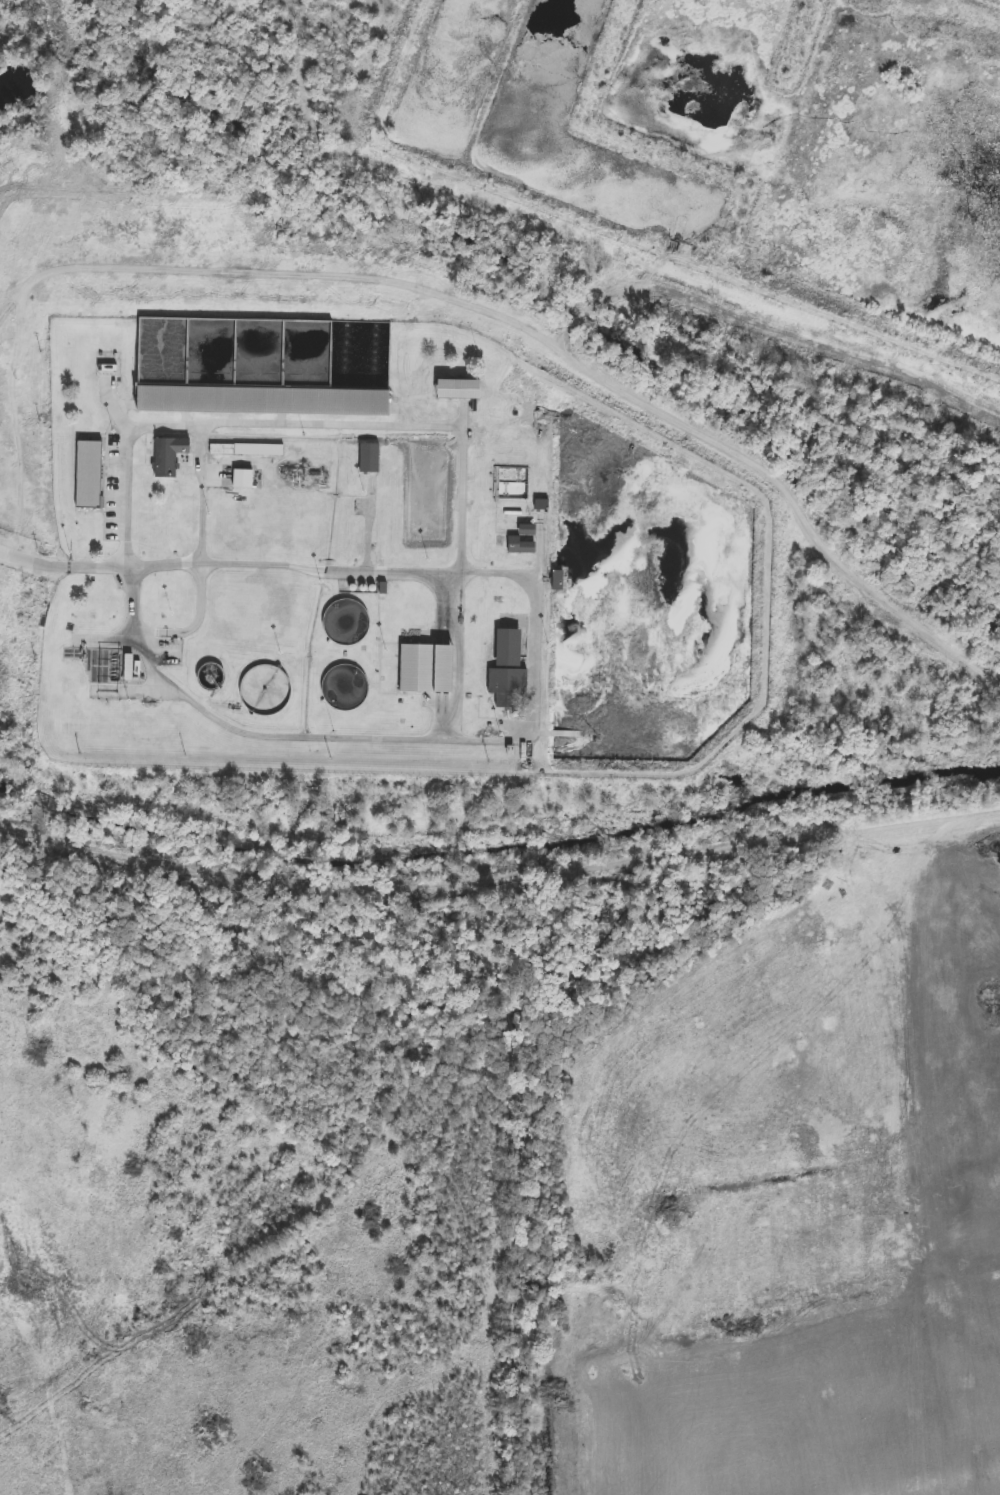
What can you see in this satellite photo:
building: (239, 355)
road: (299, 429)
building: (260, 451)
building: (171, 456)
building: (371, 459)
building: (93, 466)
building: (244, 480)
building: (429, 495)
building: (236, 530)
building: (159, 532)
building: (525, 542)
wastewater plant: (381, 557)
road: (66, 563)
building: (259, 608)
building: (359, 617)
road: (195, 627)
building: (206, 629)
building: (510, 649)
building: (170, 652)
road: (534, 657)
building: (213, 678)
building: (509, 689)
building: (265, 692)
road: (449, 709)

